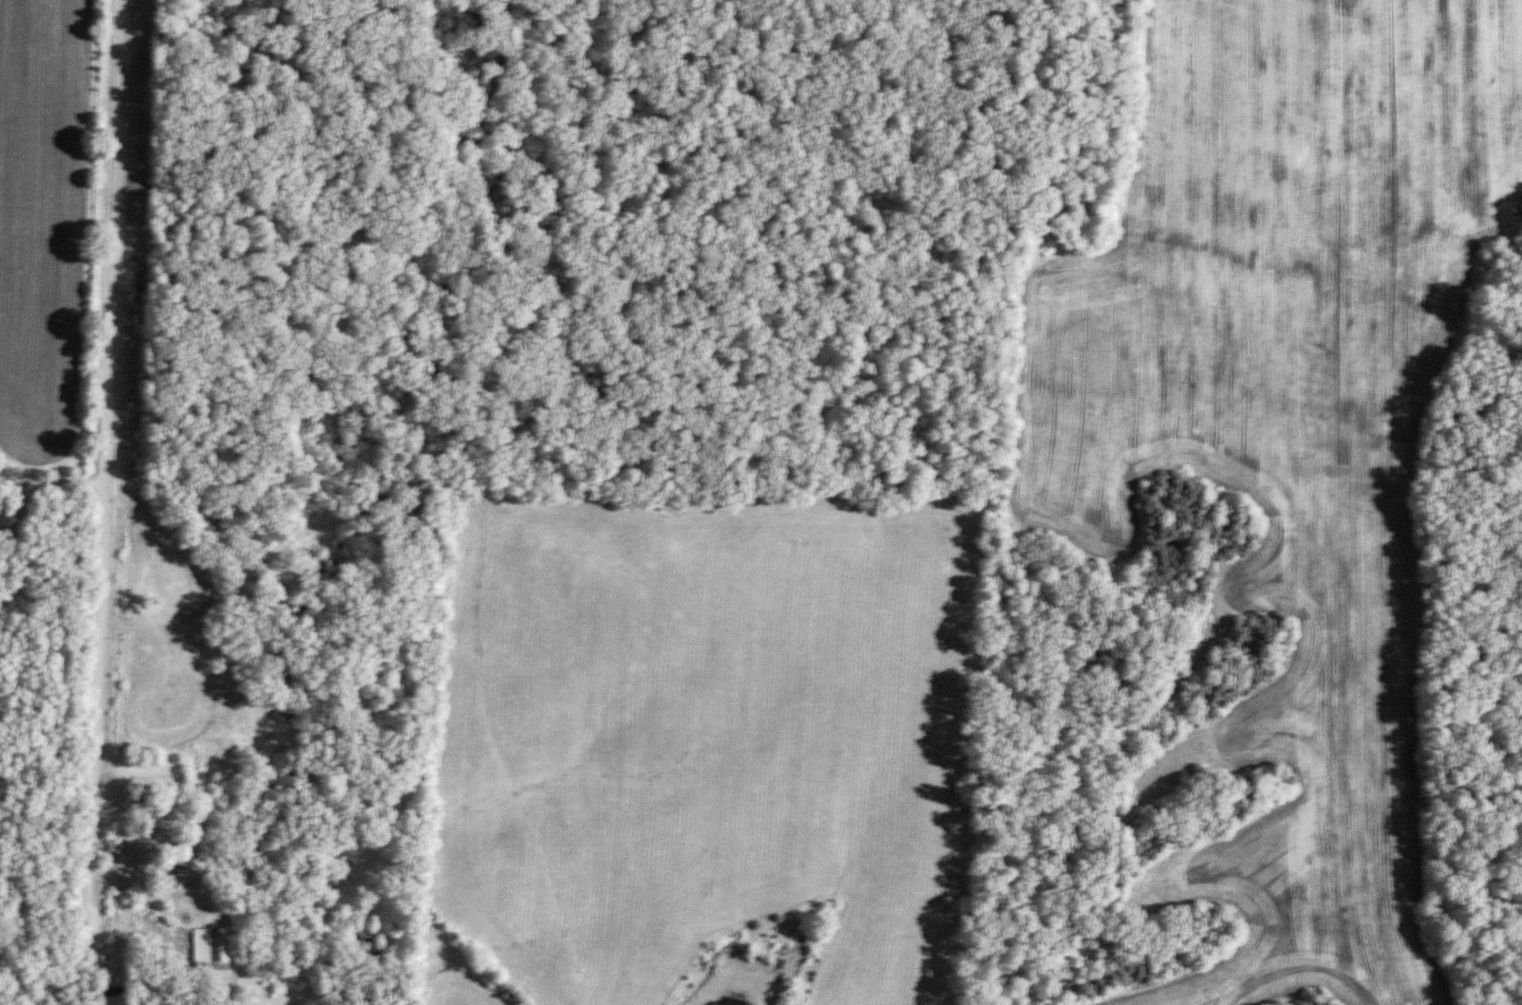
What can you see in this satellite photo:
road: (50, 481)
road: (101, 502)
road: (11, 507)
road: (189, 873)
building: (210, 945)

